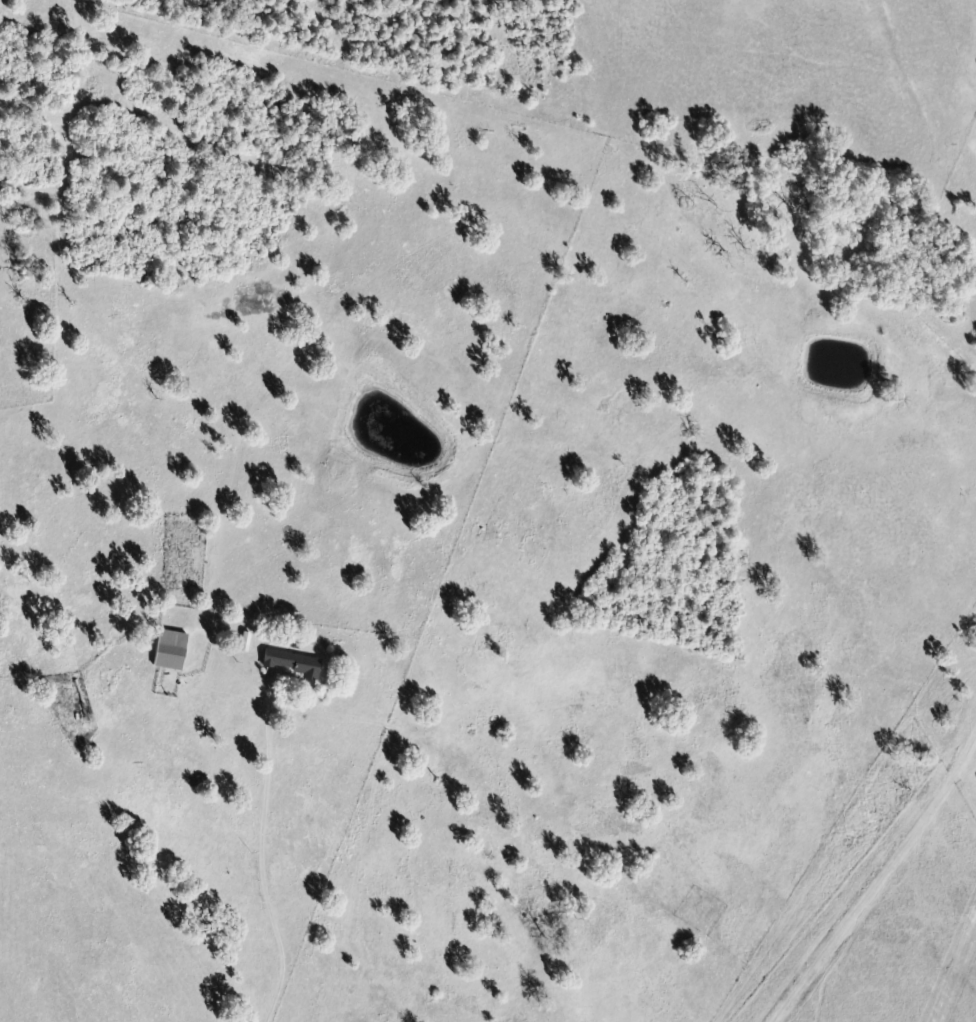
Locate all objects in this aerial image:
road: (865, 3)
road: (934, 38)
building: (173, 650)
building: (294, 663)

